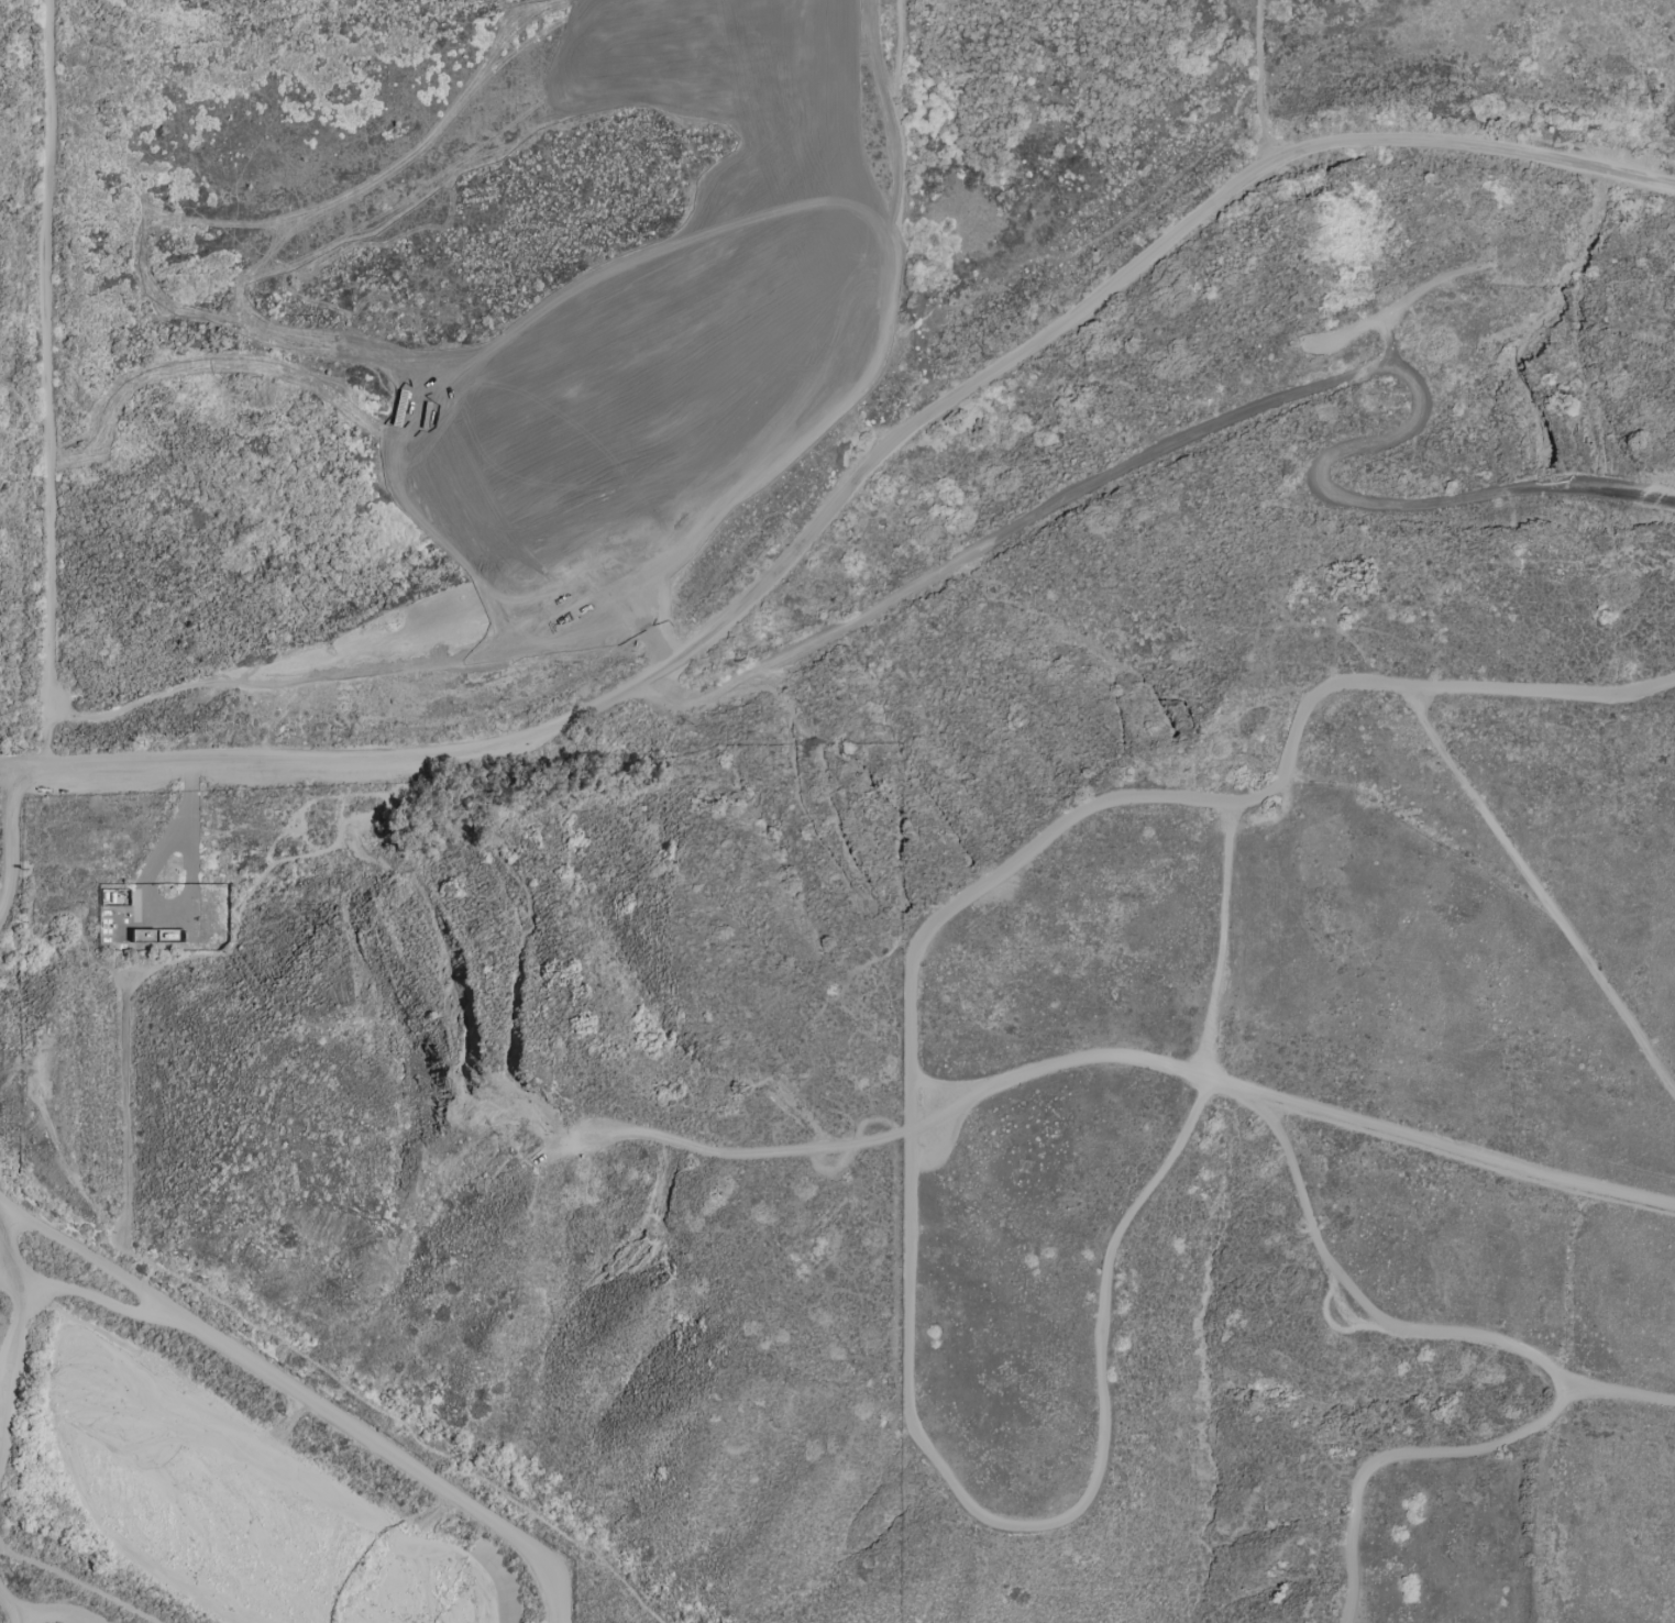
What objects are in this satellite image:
road: (197, 2)
road: (875, 16)
park: (746, 43)
road: (175, 49)
road: (428, 58)
road: (577, 60)
road: (1261, 87)
road: (550, 89)
park: (493, 91)
park: (357, 92)
road: (1420, 290)
road: (677, 307)
road: (1365, 324)
building: (834, 347)
road: (1389, 347)
road: (852, 364)
road: (261, 366)
road: (687, 391)
building: (814, 398)
road: (52, 399)
road: (27, 404)
building: (725, 404)
road: (1263, 405)
road: (496, 427)
building: (685, 429)
building: (769, 429)
building: (638, 450)
building: (715, 457)
parking lot: (491, 459)
building: (591, 473)
building: (677, 486)
road: (855, 490)
road: (609, 496)
building: (641, 501)
building: (515, 518)
road: (647, 595)
road: (4, 777)
road: (1217, 809)
parking lot: (0, 820)
road: (9, 841)
road: (1543, 896)
road: (1220, 942)
road: (1056, 1061)
road: (1340, 1116)
road: (741, 1149)
road: (9, 1280)
road: (93, 1298)
road: (18, 1316)
road: (1534, 1346)
road: (308, 1396)
road: (1616, 1396)
road: (969, 1501)
road: (79, 1583)
road: (10, 1608)
road: (48, 1614)

